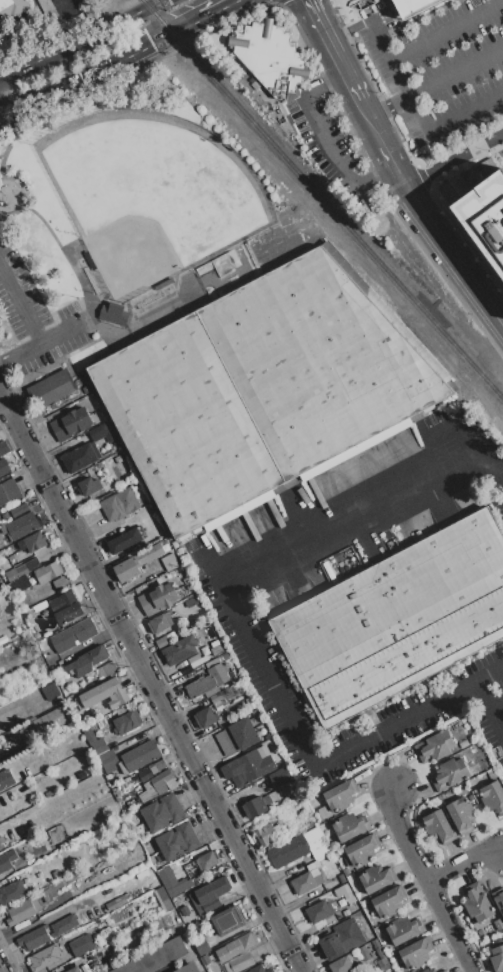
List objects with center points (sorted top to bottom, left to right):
building: (361, 3)
road: (65, 5)
building: (410, 6)
building: (10, 8)
building: (47, 9)
road: (216, 10)
road: (347, 29)
road: (380, 38)
road: (427, 38)
road: (80, 40)
road: (330, 51)
building: (269, 56)
road: (100, 68)
parking lot: (441, 68)
road: (433, 82)
road: (447, 115)
road: (367, 123)
road: (325, 140)
road: (498, 146)
parking lot: (328, 147)
road: (453, 160)
road: (391, 166)
building: (487, 166)
park: (151, 195)
railway: (322, 200)
building: (485, 217)
road: (456, 245)
road: (450, 265)
park: (226, 271)
road: (20, 309)
building: (113, 313)
road: (37, 344)
building: (318, 361)
building: (51, 387)
building: (85, 389)
building: (71, 423)
building: (185, 424)
building: (101, 432)
road: (458, 433)
building: (3, 447)
building: (79, 457)
building: (4, 467)
road: (431, 468)
road: (497, 474)
building: (89, 486)
building: (9, 491)
building: (33, 501)
building: (120, 504)
building: (19, 510)
building: (4, 516)
building: (21, 525)
building: (125, 541)
building: (33, 542)
building: (169, 549)
building: (158, 552)
building: (146, 557)
building: (170, 562)
building: (6, 563)
building: (22, 568)
building: (127, 569)
building: (49, 571)
building: (161, 579)
building: (60, 582)
building: (18, 585)
building: (157, 598)
building: (192, 601)
building: (65, 607)
building: (397, 619)
building: (160, 621)
building: (73, 635)
building: (162, 641)
road: (248, 641)
building: (212, 643)
building: (180, 650)
building: (216, 650)
building: (226, 656)
building: (193, 659)
building: (86, 661)
building: (211, 662)
building: (192, 665)
building: (106, 670)
building: (233, 672)
building: (218, 674)
road: (151, 679)
building: (199, 686)
building: (50, 692)
building: (212, 692)
building: (104, 694)
building: (218, 697)
road: (496, 710)
road: (487, 712)
building: (206, 717)
building: (53, 720)
building: (125, 722)
building: (244, 733)
building: (93, 739)
building: (226, 742)
building: (464, 743)
building: (434, 746)
building: (139, 756)
building: (108, 761)
building: (248, 765)
building: (492, 773)
building: (449, 774)
building: (362, 776)
building: (281, 777)
building: (5, 780)
building: (157, 781)
building: (24, 785)
building: (119, 786)
building: (340, 796)
building: (492, 796)
building: (272, 797)
building: (255, 807)
building: (324, 811)
building: (162, 812)
building: (461, 815)
building: (307, 823)
building: (350, 826)
building: (439, 826)
building: (266, 835)
building: (41, 840)
building: (177, 841)
building: (1, 845)
building: (298, 847)
building: (362, 850)
building: (7, 860)
building: (207, 860)
road: (462, 860)
building: (346, 871)
building: (377, 877)
building: (341, 878)
building: (307, 879)
building: (64, 881)
building: (172, 881)
road: (426, 881)
building: (119, 883)
building: (328, 886)
building: (213, 889)
building: (13, 891)
building: (345, 893)
building: (162, 894)
building: (498, 899)
building: (118, 901)
building: (389, 901)
building: (341, 902)
building: (477, 902)
building: (193, 904)
building: (23, 911)
building: (319, 911)
building: (346, 912)
building: (371, 913)
building: (84, 915)
road: (51, 917)
building: (189, 918)
building: (228, 919)
building: (498, 924)
building: (63, 925)
building: (364, 928)
building: (403, 929)
building: (479, 932)
building: (369, 934)
building: (33, 938)
building: (341, 938)
building: (375, 943)
building: (82, 945)
building: (201, 946)
building: (236, 947)
building: (379, 951)
building: (364, 952)
building: (415, 953)
building: (44, 957)
building: (155, 957)
building: (496, 958)
building: (95, 959)
building: (241, 961)
building: (382, 962)
building: (82, 963)
building: (341, 964)
building: (188, 968)
building: (72, 969)
building: (260, 969)
road: (0, 970)
building: (430, 970)
road: (164, 971)
building: (440, 971)

